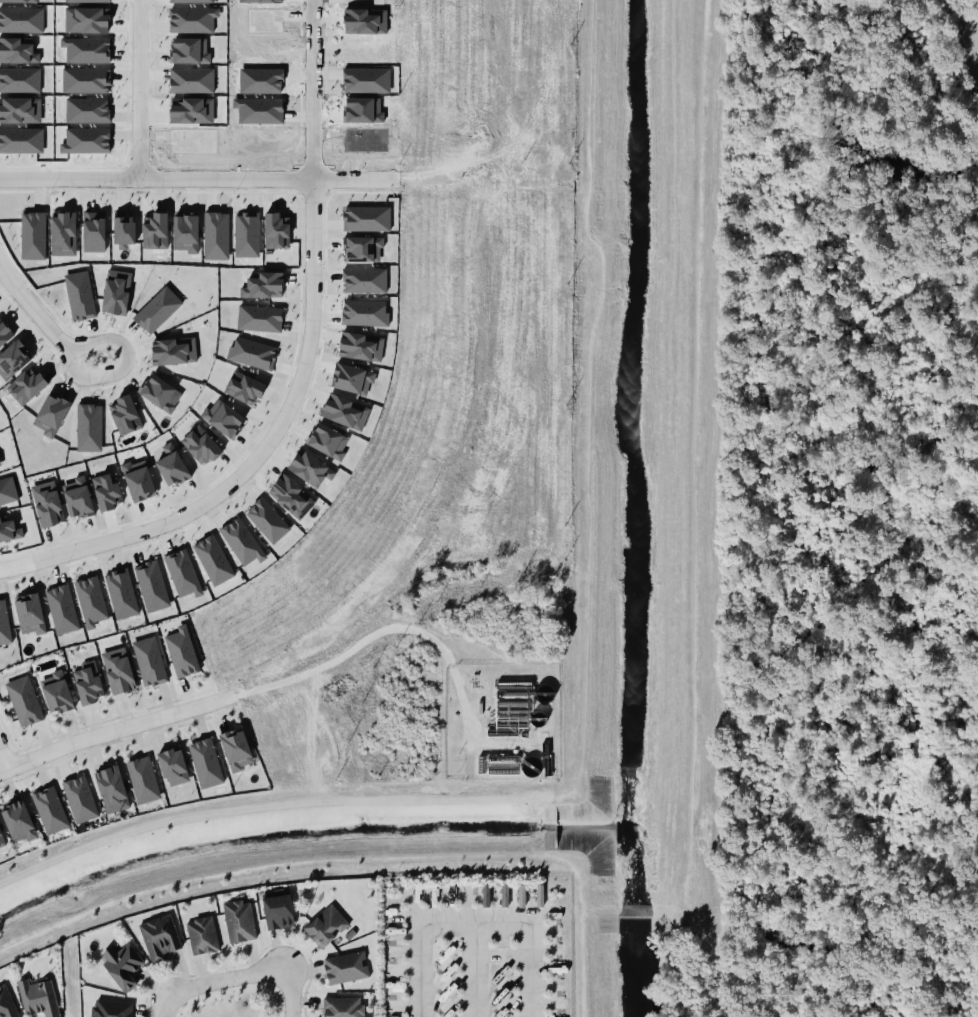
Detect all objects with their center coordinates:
building: (192, 19)
building: (21, 20)
building: (86, 20)
building: (207, 46)
building: (17, 50)
building: (185, 50)
building: (20, 80)
building: (85, 80)
building: (191, 80)
road: (314, 88)
road: (139, 89)
building: (20, 110)
building: (87, 110)
building: (191, 110)
building: (21, 140)
building: (86, 140)
road: (154, 179)
building: (366, 218)
building: (123, 230)
building: (155, 230)
building: (93, 232)
building: (276, 232)
building: (185, 233)
building: (63, 234)
building: (32, 235)
building: (216, 235)
building: (246, 235)
building: (364, 249)
building: (364, 280)
building: (263, 285)
building: (116, 291)
building: (79, 295)
building: (157, 310)
building: (364, 313)
building: (259, 318)
road: (50, 320)
building: (4, 333)
building: (361, 346)
building: (174, 351)
building: (252, 353)
building: (13, 359)
building: (351, 378)
building: (26, 386)
building: (244, 388)
building: (158, 393)
building: (345, 411)
building: (51, 414)
building: (125, 415)
building: (227, 419)
road: (280, 423)
building: (88, 427)
building: (329, 441)
building: (201, 445)
building: (0, 465)
building: (171, 466)
building: (311, 468)
building: (138, 481)
building: (7, 491)
building: (107, 492)
building: (291, 496)
building: (78, 498)
building: (47, 504)
building: (267, 520)
building: (9, 530)
building: (242, 541)
building: (213, 560)
building: (182, 573)
building: (151, 586)
building: (121, 593)
building: (90, 601)
building: (61, 609)
building: (30, 613)
building: (4, 624)
road: (383, 627)
building: (182, 652)
building: (149, 661)
building: (118, 671)
building: (87, 682)
building: (57, 693)
building: (23, 701)
road: (115, 730)
road: (499, 743)
building: (236, 749)
road: (4, 758)
building: (205, 763)
building: (173, 766)
building: (143, 780)
building: (111, 789)
building: (79, 799)
building: (49, 810)
building: (18, 821)
building: (2, 840)
building: (521, 895)
building: (539, 895)
building: (278, 912)
building: (239, 921)
road: (475, 921)
building: (326, 926)
building: (202, 935)
building: (159, 937)
building: (122, 965)
building: (346, 967)
road: (475, 969)
road: (238, 978)
building: (38, 998)
building: (6, 1003)
building: (343, 1007)
building: (111, 1008)

